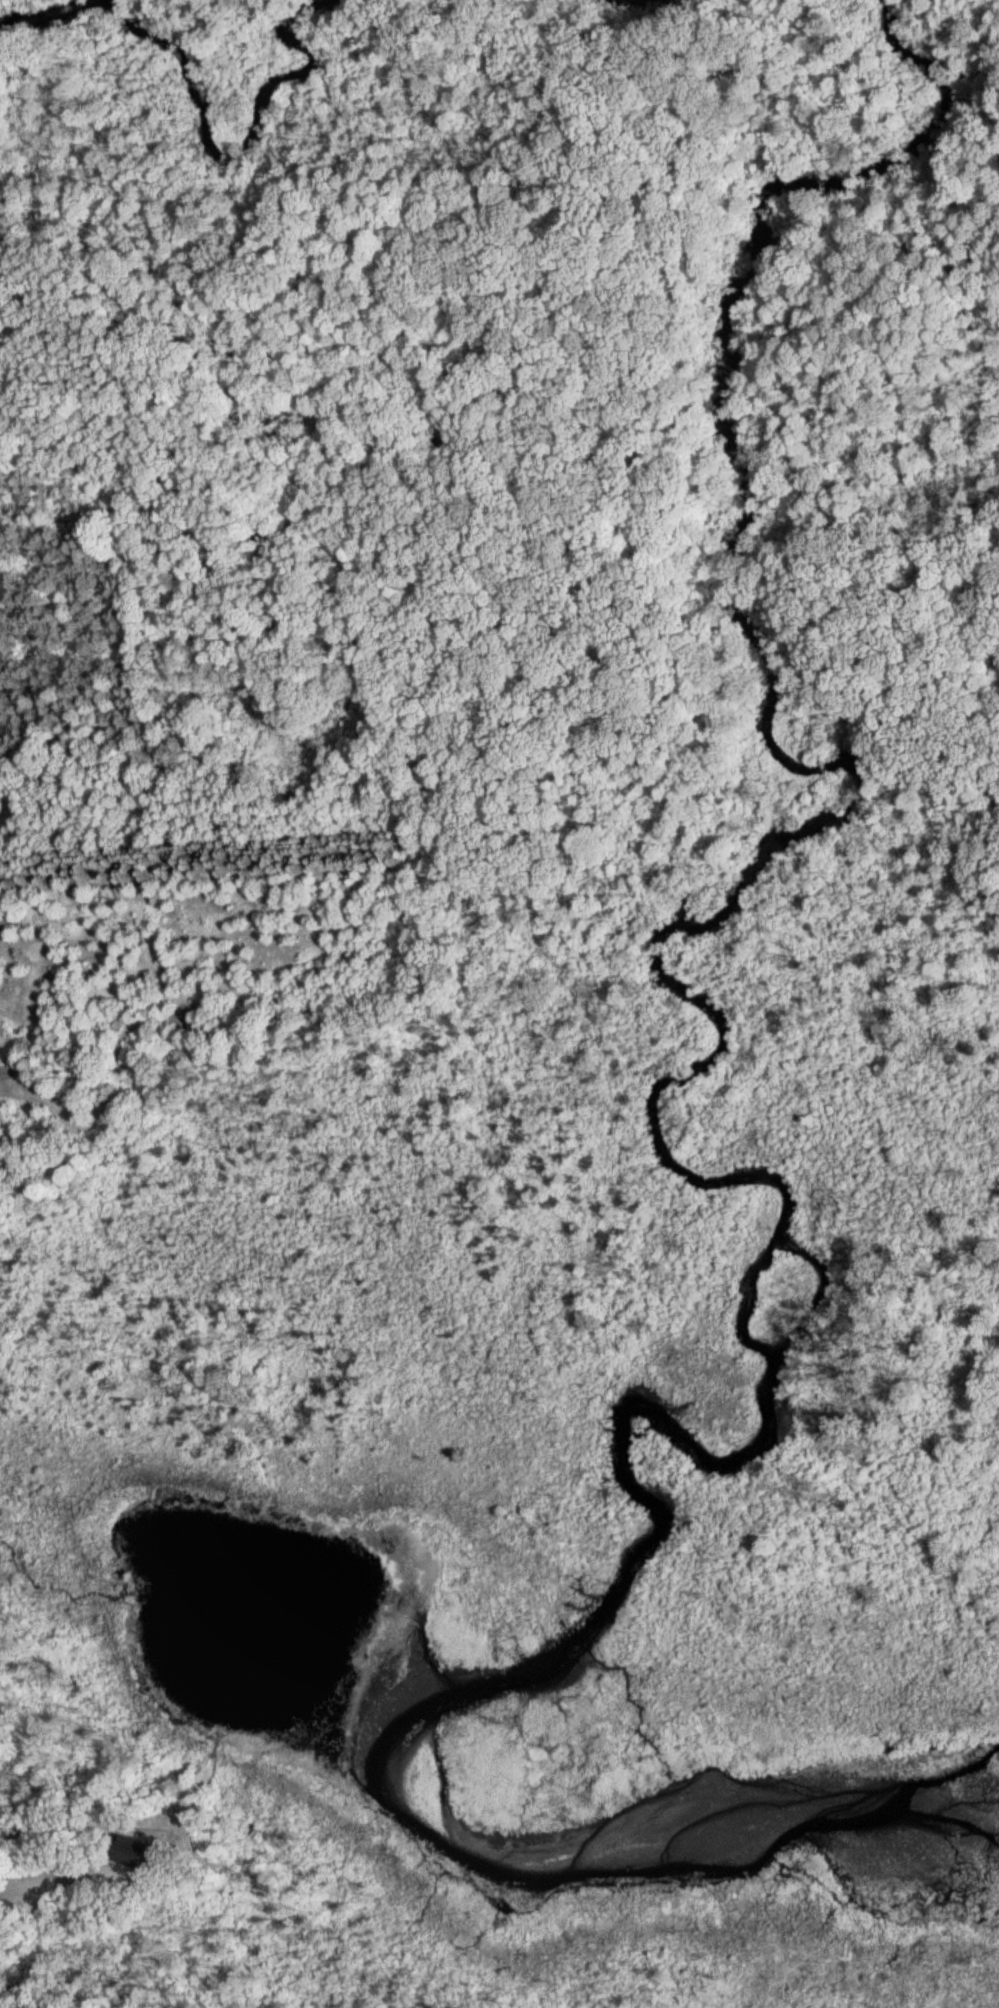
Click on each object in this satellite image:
road: (73, 1829)
building: (138, 1847)

